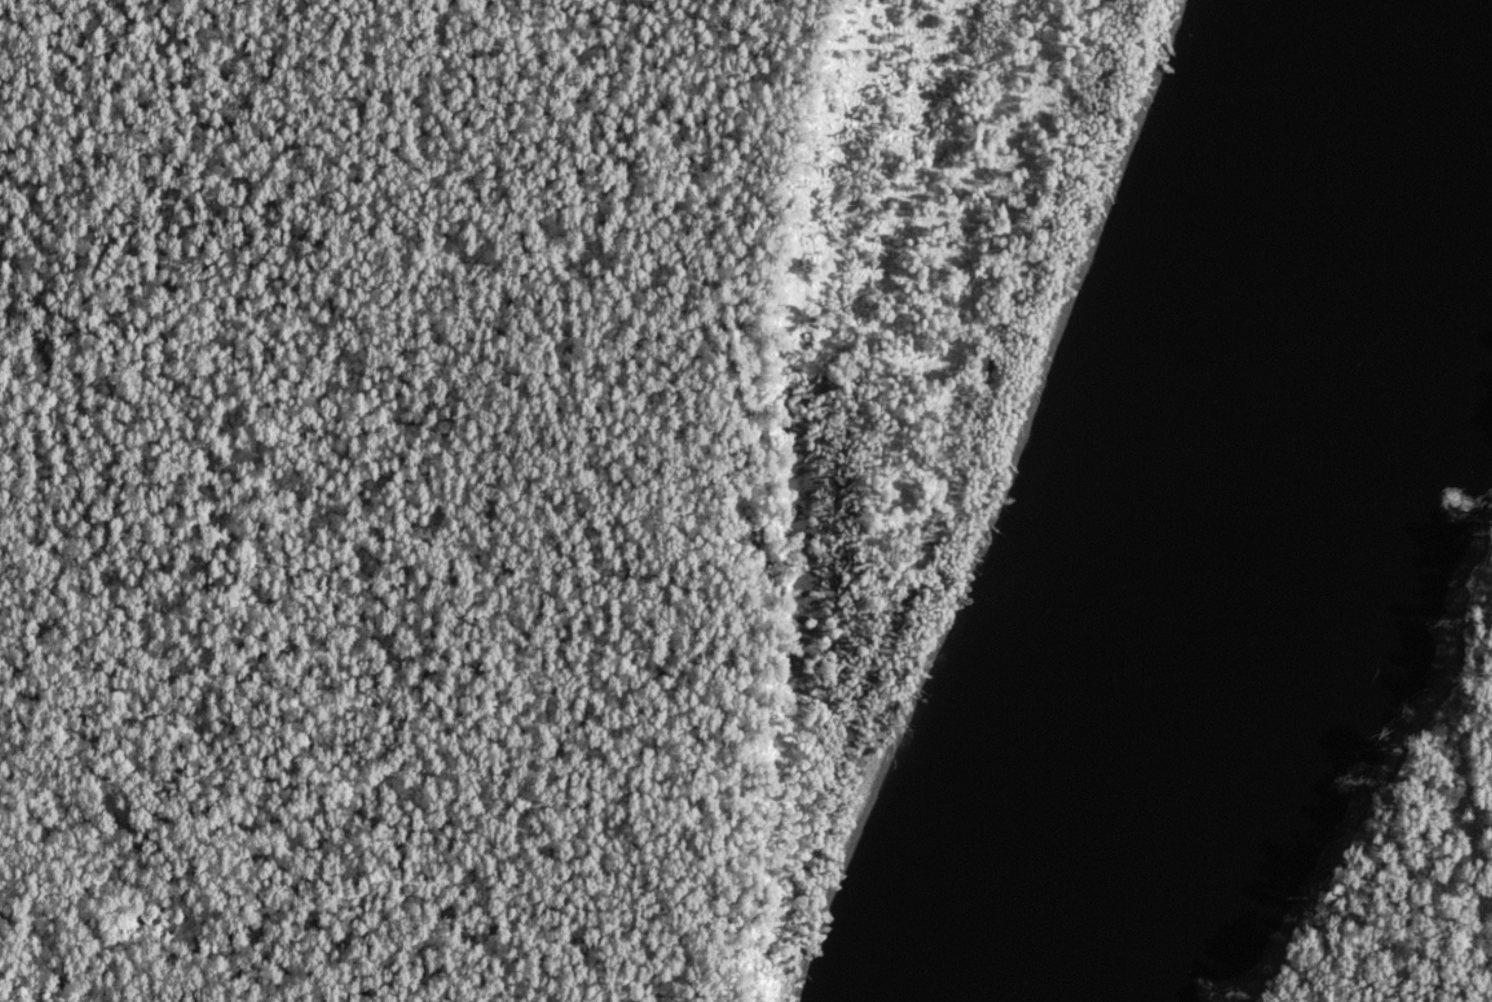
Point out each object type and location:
river: (1071, 493)

